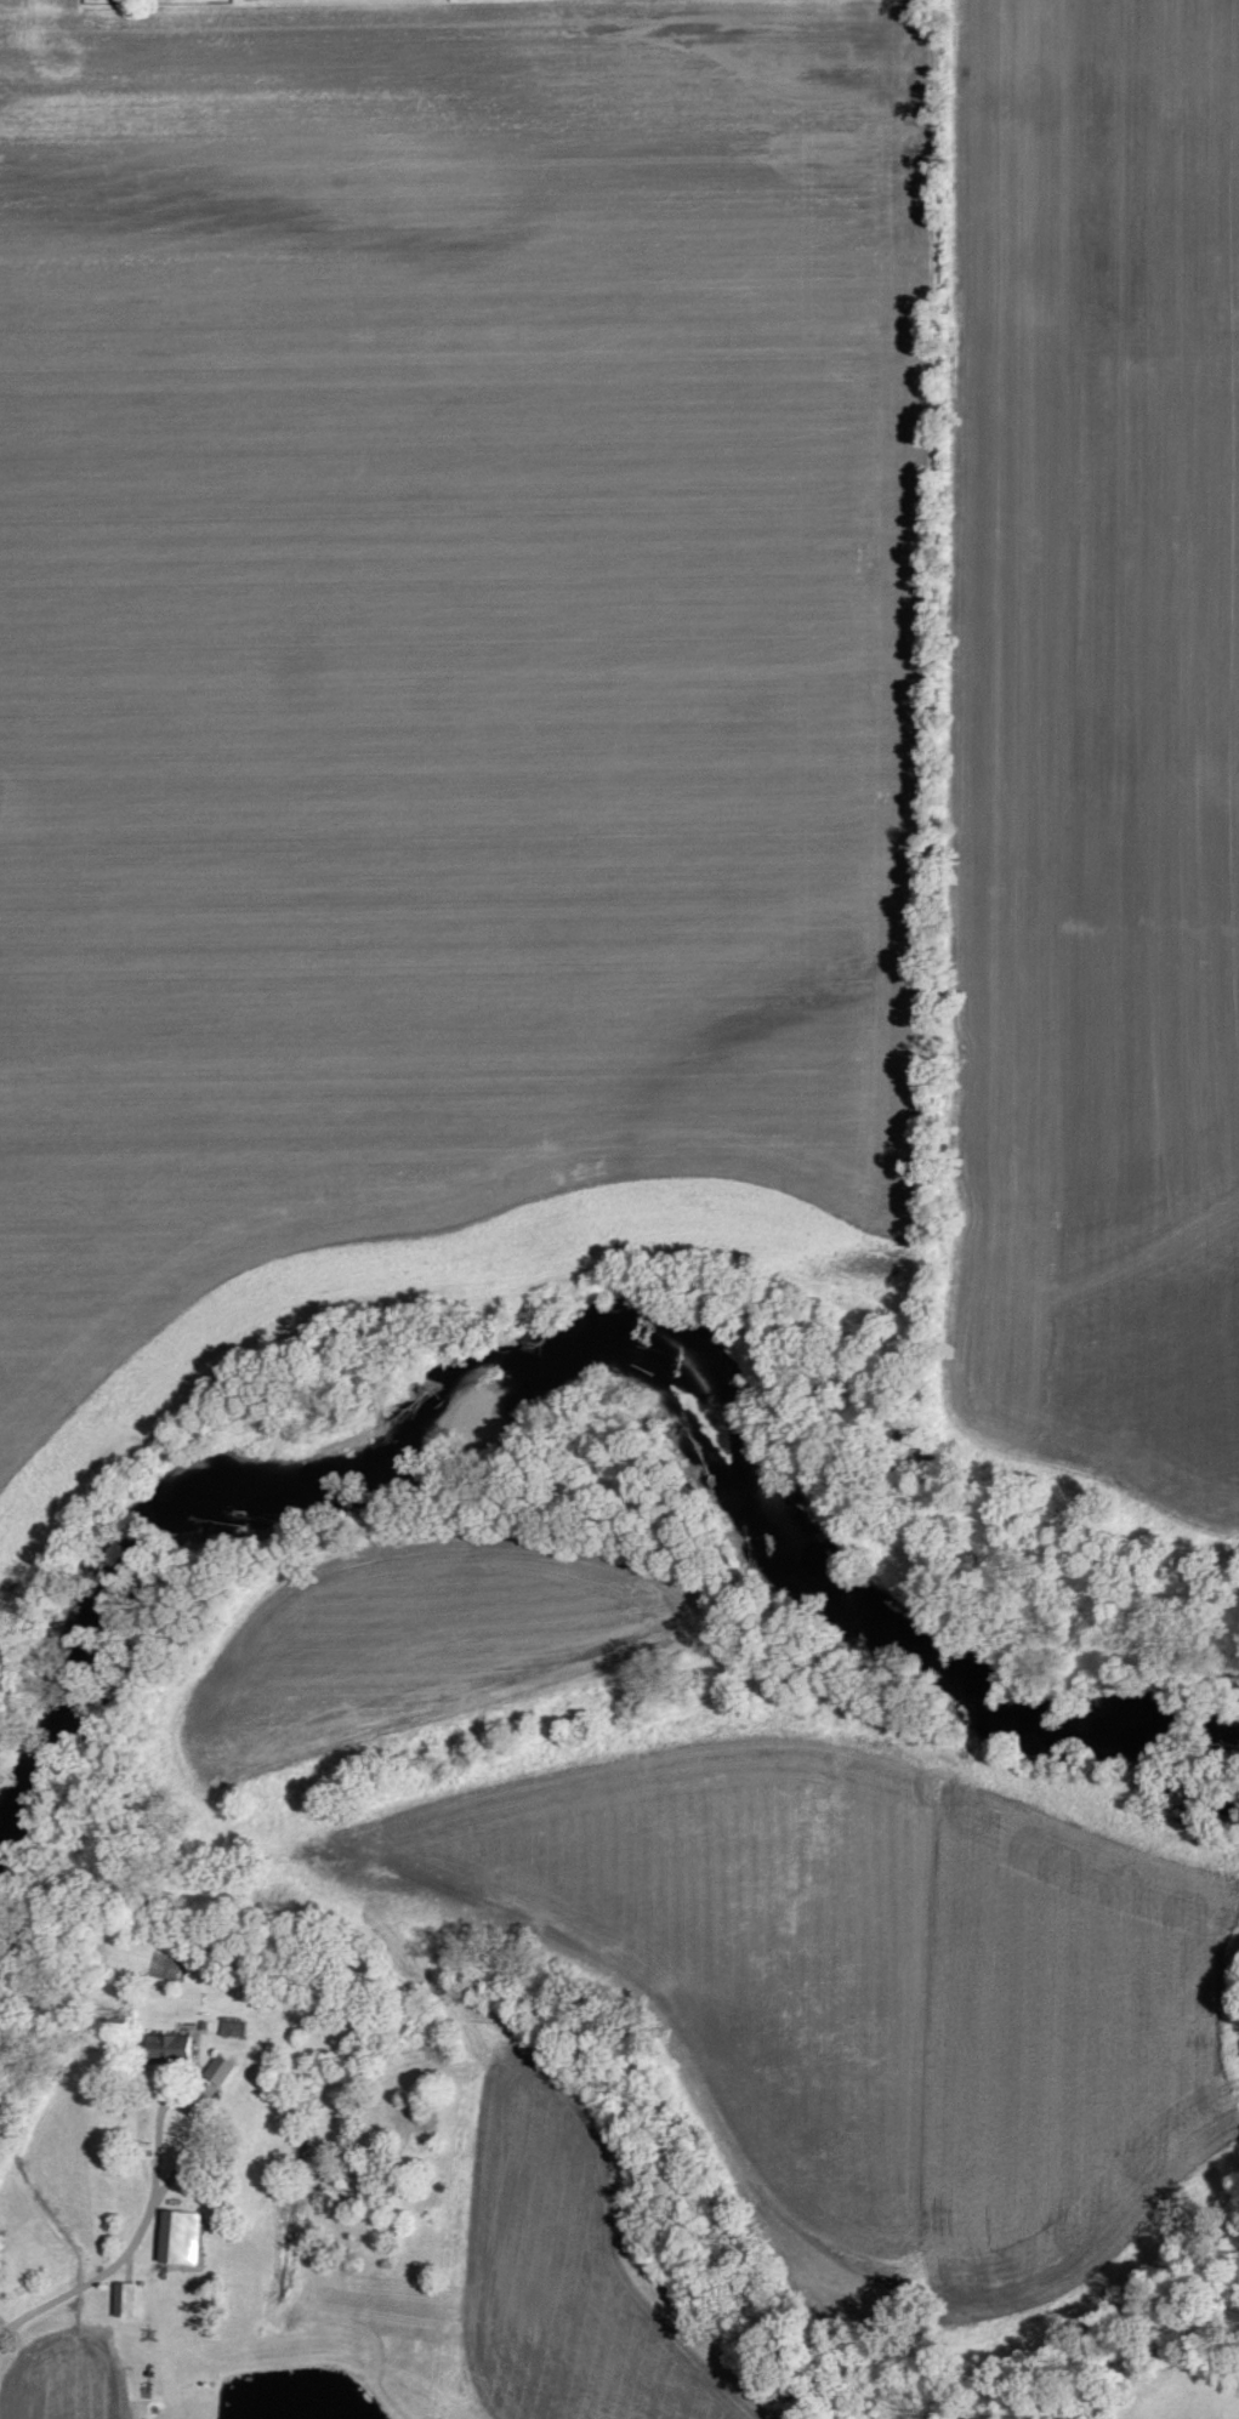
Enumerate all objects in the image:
river: (575, 1360)
building: (223, 2070)
road: (188, 2094)
building: (184, 2236)
road: (90, 2279)
building: (127, 2299)

